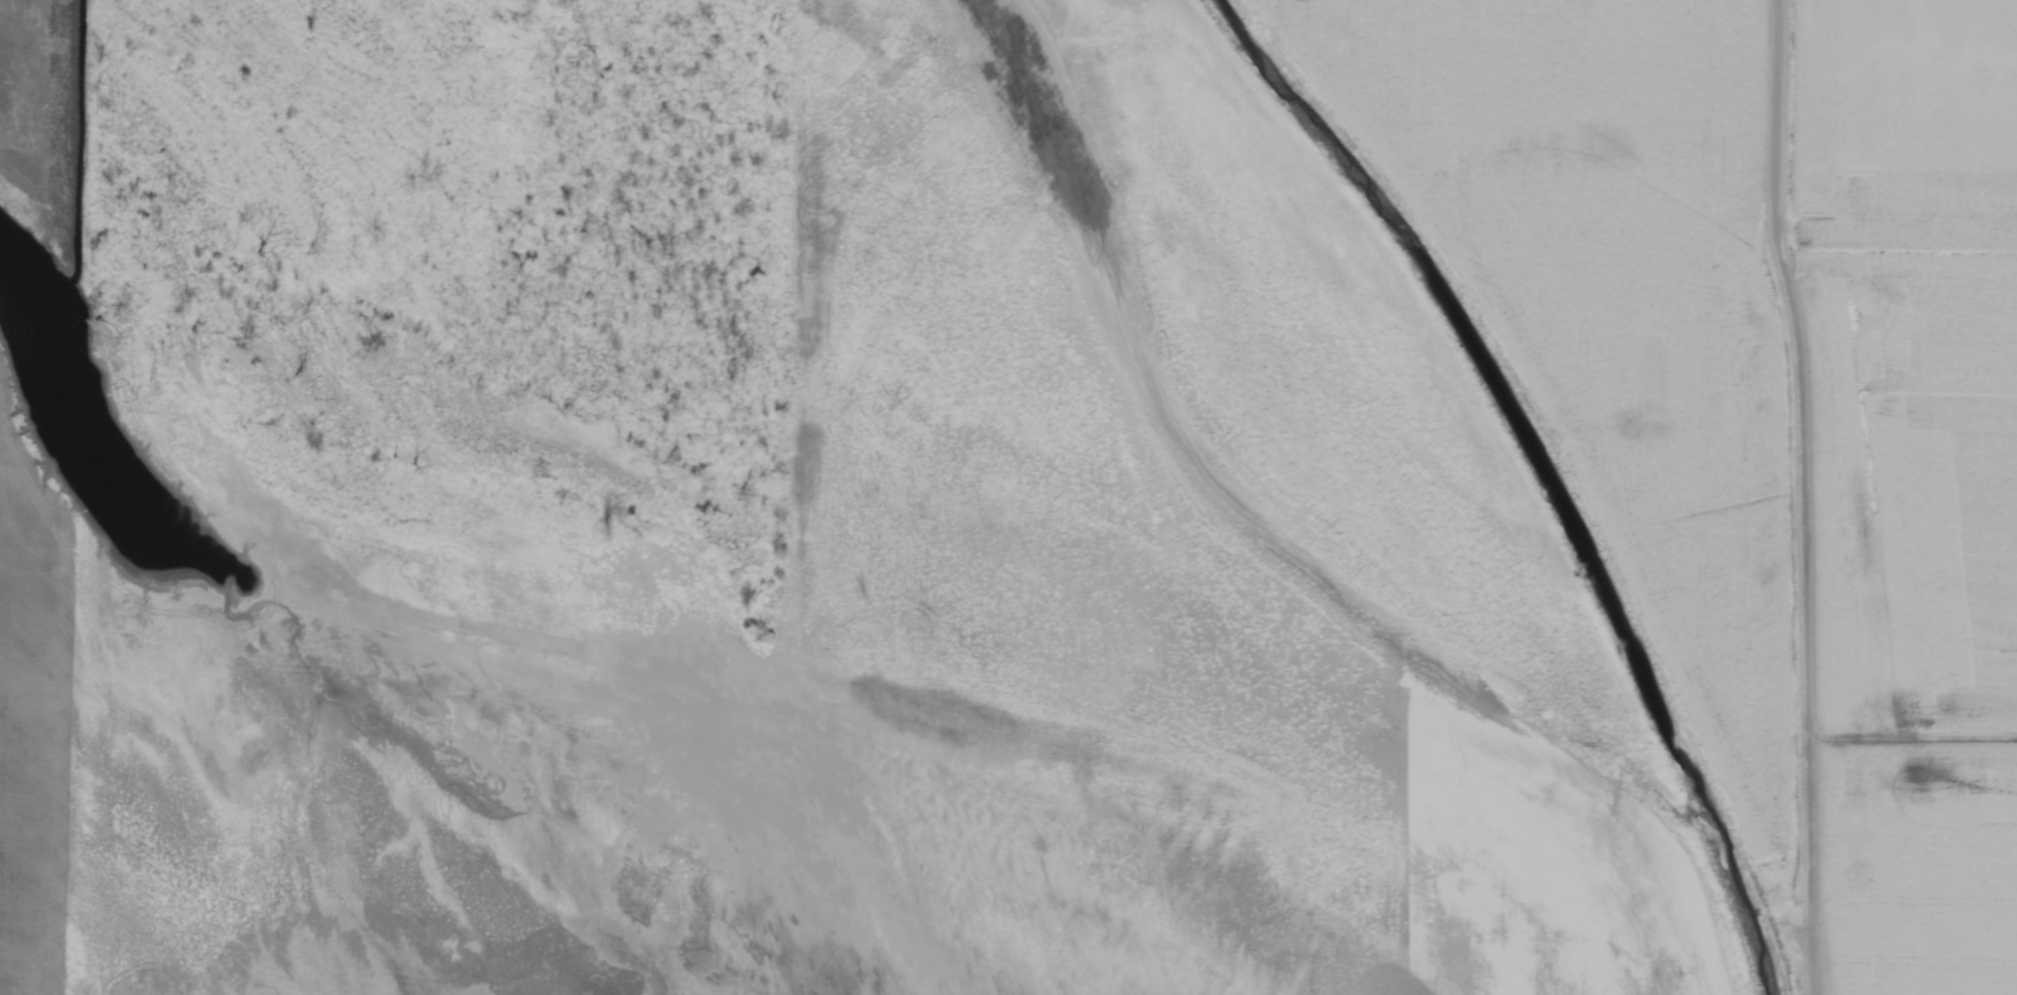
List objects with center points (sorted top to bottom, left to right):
road: (1821, 494)

